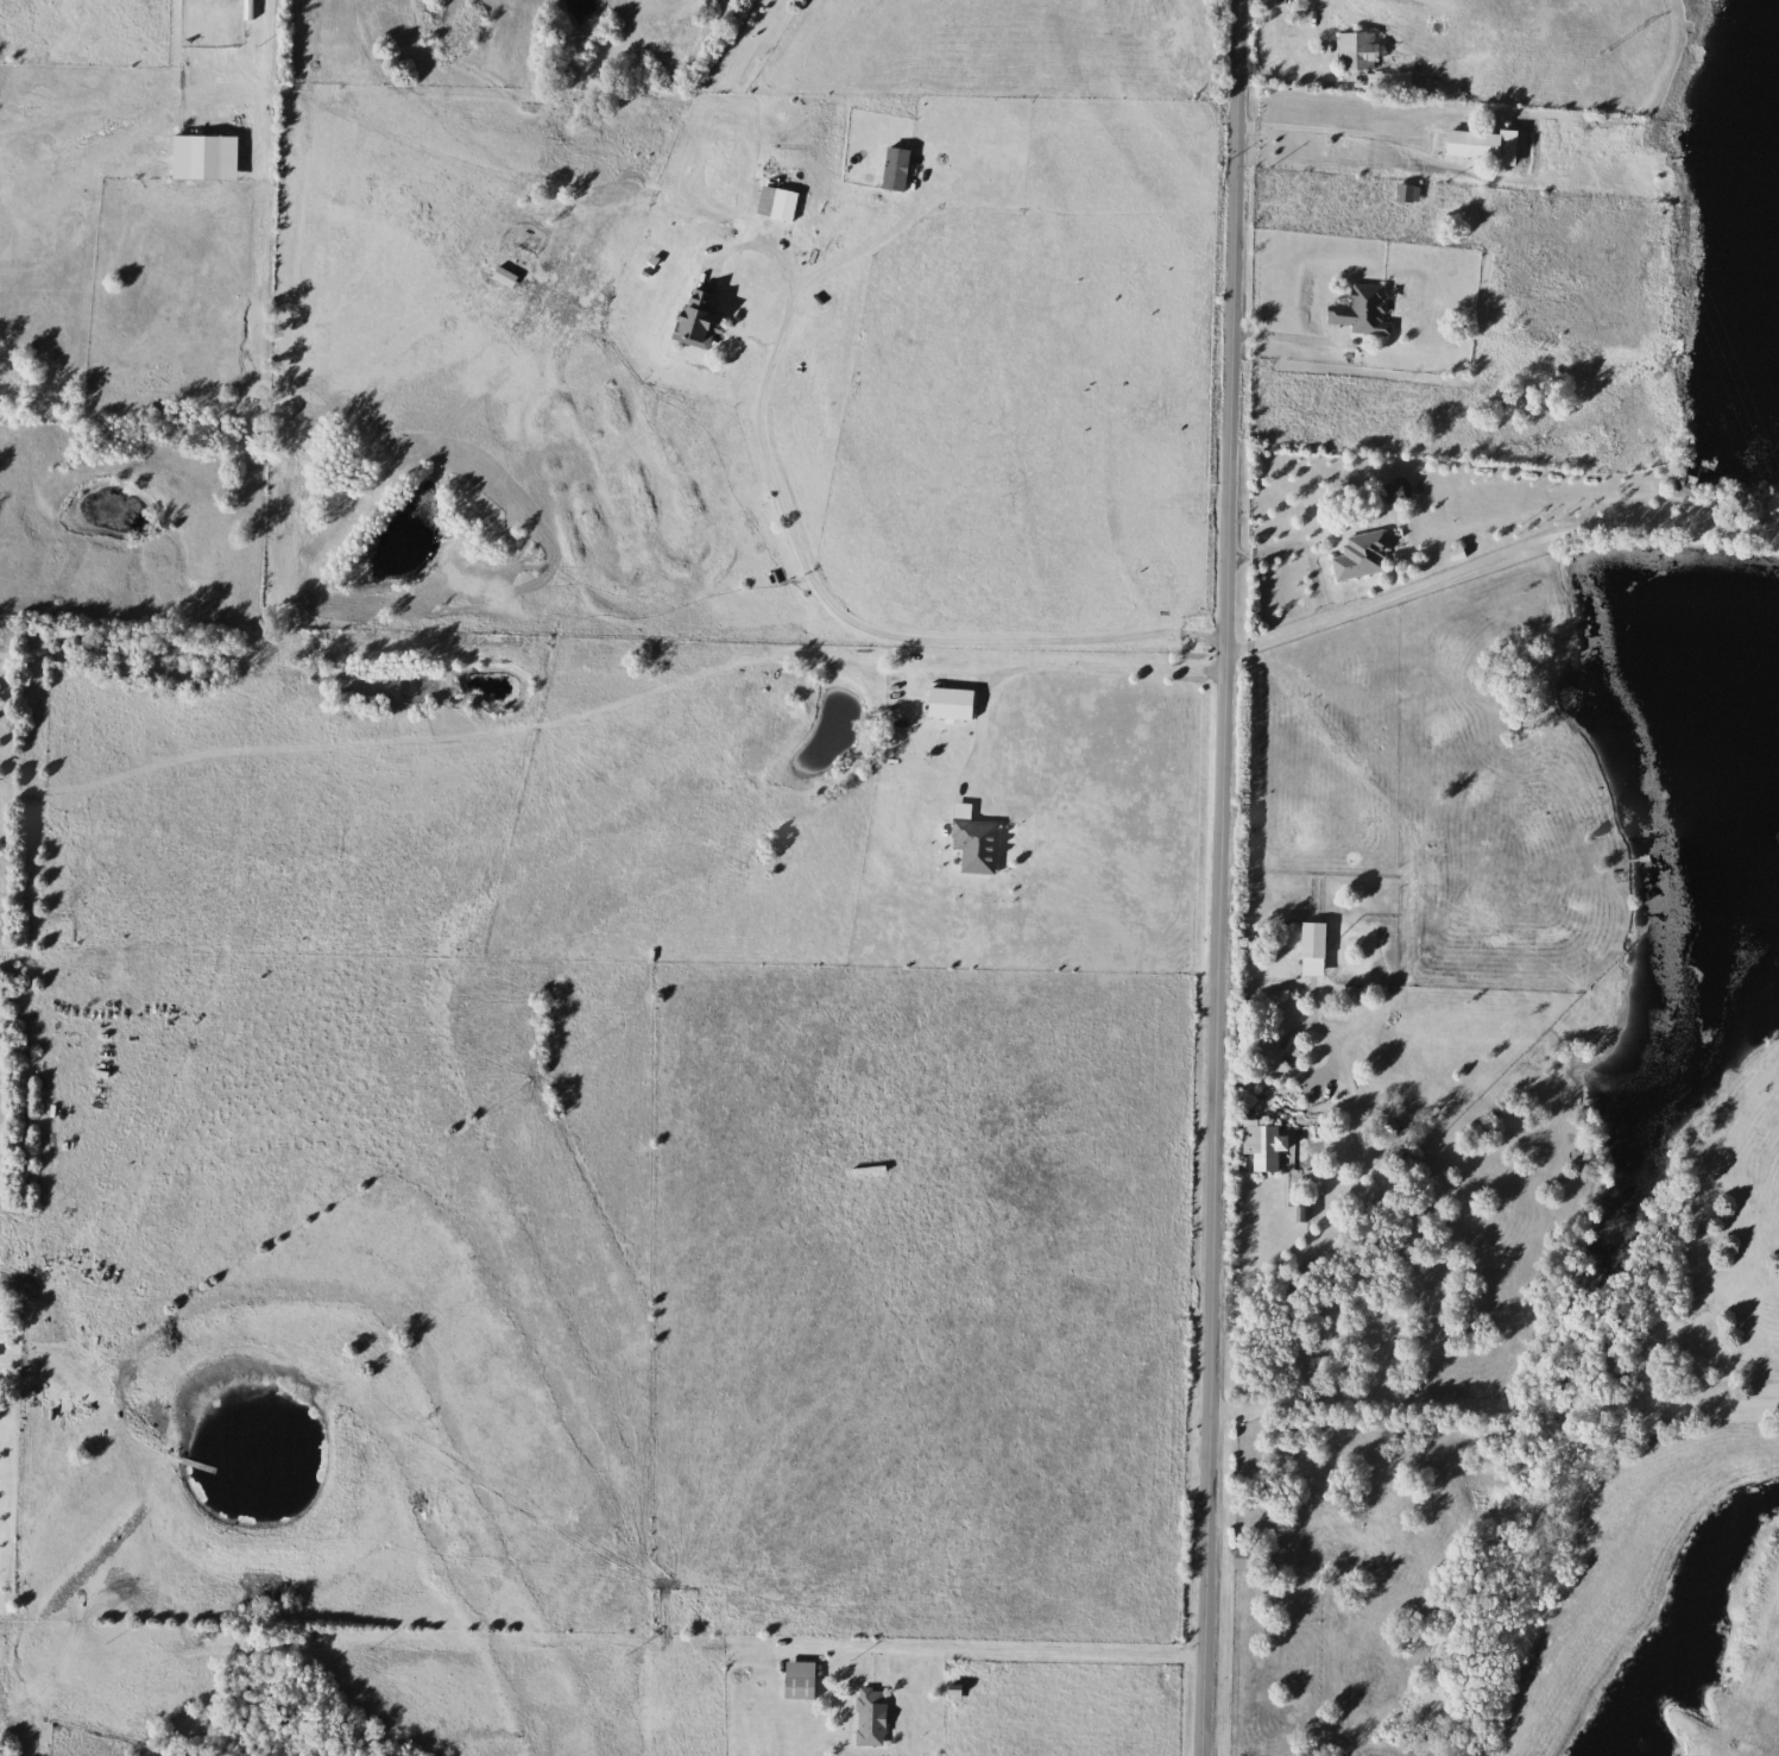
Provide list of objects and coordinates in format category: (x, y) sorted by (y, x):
road: (261, 50)
building: (1358, 50)
road: (1326, 128)
building: (1487, 145)
building: (209, 158)
building: (1411, 194)
building: (787, 204)
building: (1365, 311)
building: (701, 319)
road: (1289, 338)
building: (1686, 483)
building: (1399, 491)
road: (1297, 545)
road: (1488, 555)
building: (1365, 556)
road: (856, 617)
road: (1053, 665)
building: (954, 705)
building: (979, 845)
road: (1211, 877)
building: (1318, 942)
building: (1280, 1145)
road: (1411, 1229)
road: (1578, 1405)
building: (1248, 1560)
road: (1005, 1645)
building: (803, 1680)
building: (873, 1717)

